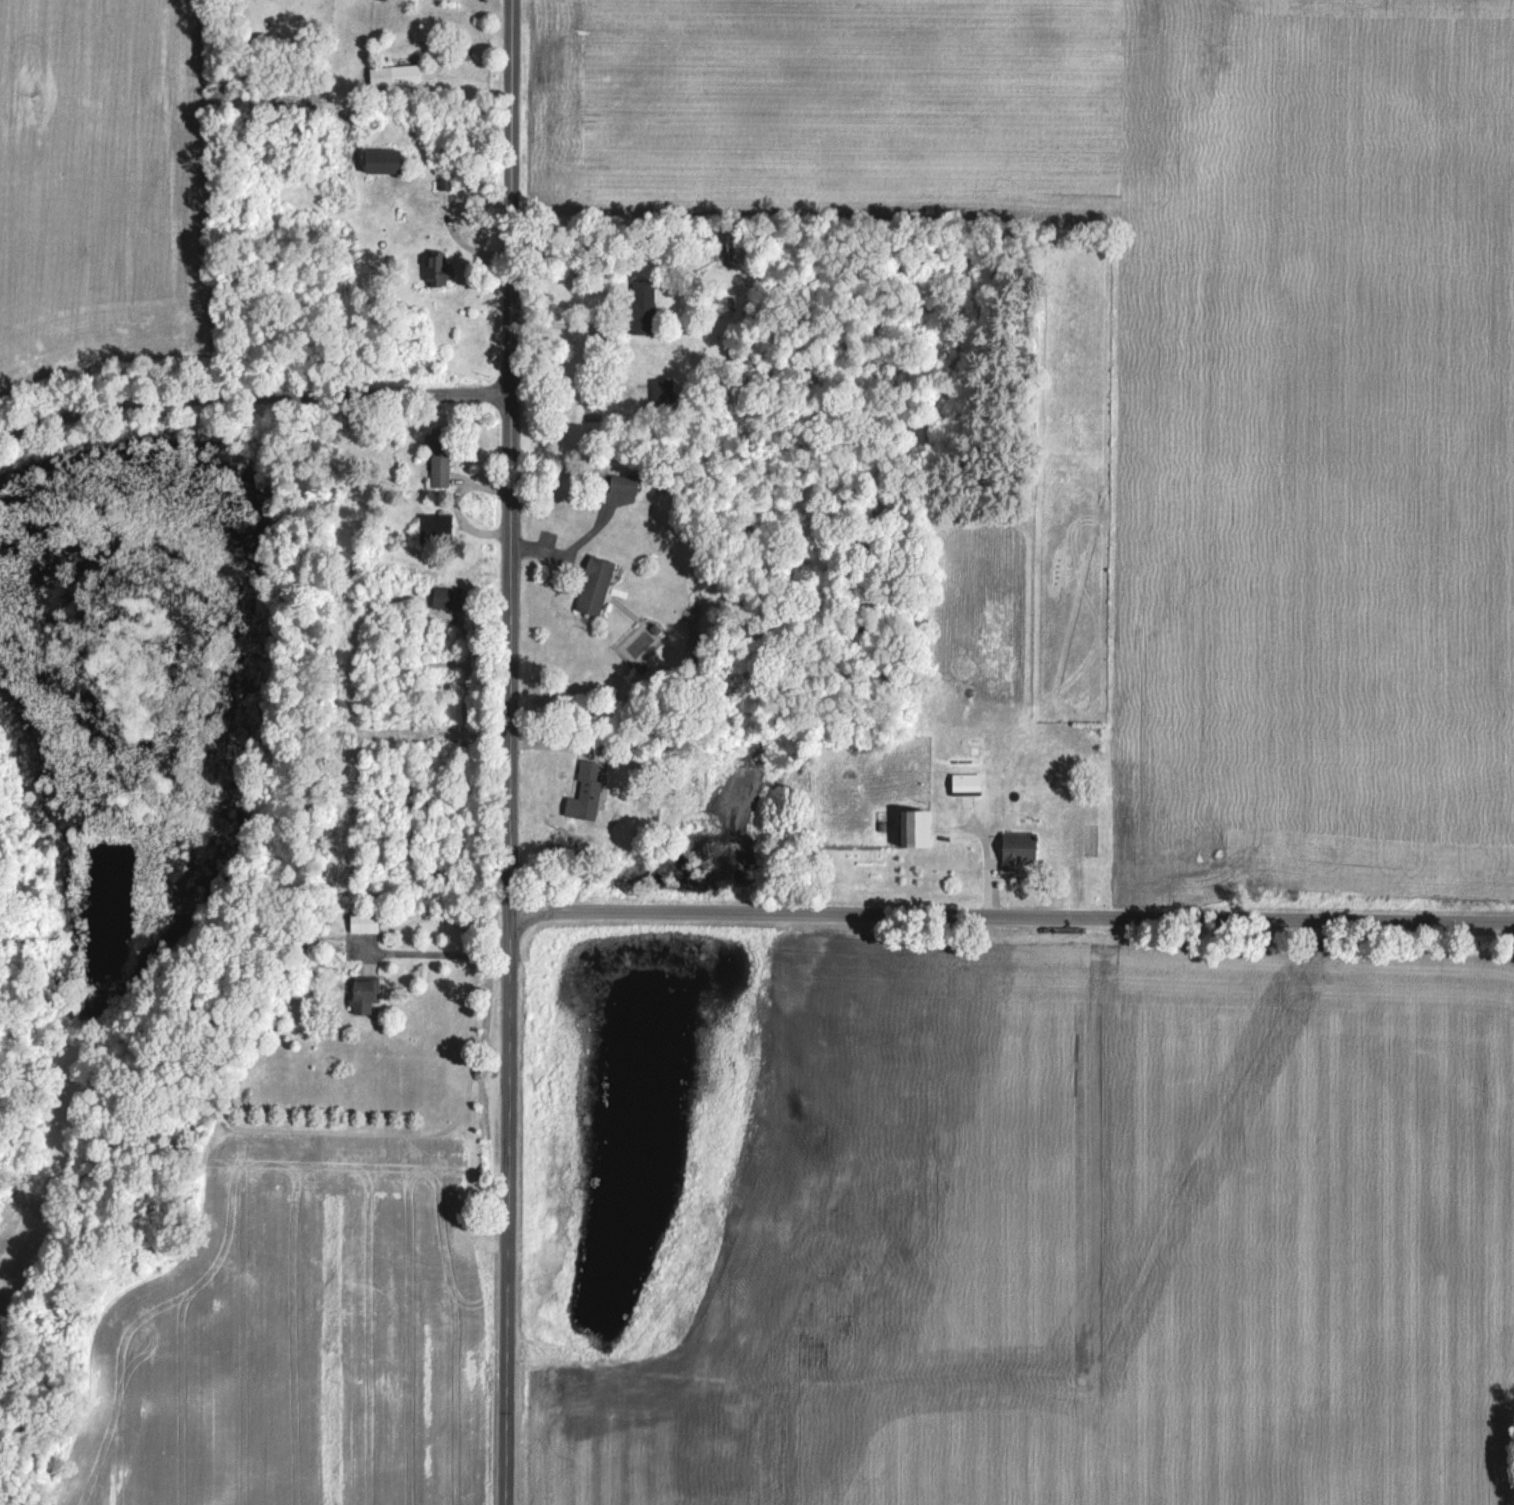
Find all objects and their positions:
building: (393, 74)
building: (379, 160)
building: (641, 306)
road: (569, 325)
building: (660, 390)
road: (253, 392)
building: (437, 455)
building: (621, 482)
building: (434, 527)
building: (592, 585)
building: (445, 598)
road: (507, 752)
building: (964, 783)
building: (912, 828)
building: (1017, 849)
road: (1011, 911)
building: (362, 921)
road: (443, 951)
building: (362, 993)

